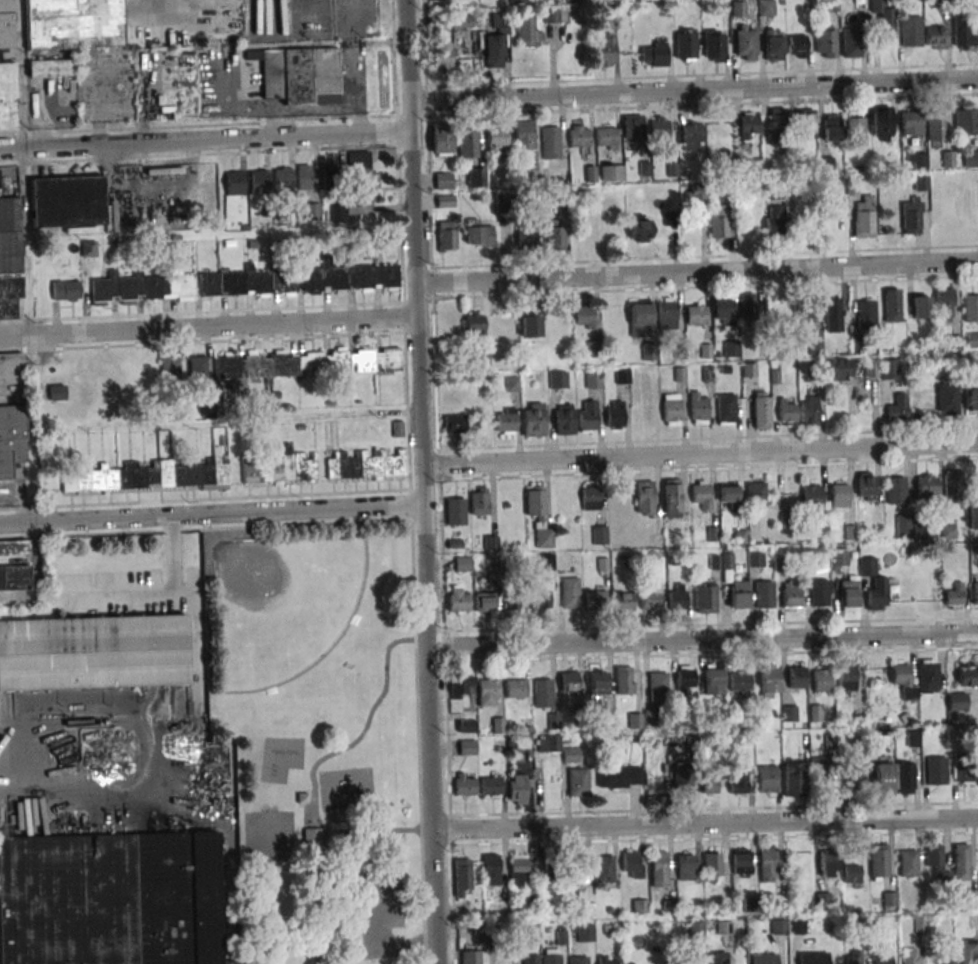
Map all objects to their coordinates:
building: (435, 0)
building: (574, 0)
building: (517, 1)
building: (830, 6)
building: (738, 8)
building: (765, 8)
building: (611, 13)
building: (554, 15)
building: (884, 17)
building: (438, 22)
building: (461, 22)
building: (72, 23)
building: (911, 31)
building: (963, 31)
building: (528, 32)
building: (935, 37)
building: (825, 41)
building: (495, 42)
building: (851, 43)
building: (714, 45)
building: (746, 46)
building: (773, 46)
building: (797, 46)
building: (685, 48)
building: (605, 51)
building: (654, 54)
building: (441, 55)
building: (51, 68)
building: (6, 69)
building: (298, 74)
road: (357, 89)
road: (694, 90)
building: (805, 122)
building: (966, 122)
building: (881, 123)
building: (911, 123)
building: (749, 125)
building: (832, 126)
building: (777, 127)
building: (935, 128)
building: (634, 130)
building: (660, 130)
building: (856, 131)
building: (580, 135)
building: (523, 136)
building: (693, 137)
building: (607, 138)
building: (441, 139)
road: (205, 140)
building: (494, 140)
building: (467, 142)
building: (550, 143)
building: (970, 158)
building: (916, 160)
road: (23, 167)
building: (612, 173)
building: (361, 174)
building: (305, 177)
building: (475, 177)
building: (282, 178)
building: (331, 178)
building: (443, 180)
building: (259, 181)
building: (234, 182)
building: (920, 182)
building: (696, 196)
building: (445, 201)
building: (65, 203)
building: (312, 211)
building: (337, 213)
building: (911, 215)
building: (864, 217)
building: (719, 221)
building: (774, 221)
building: (639, 228)
building: (478, 234)
building: (447, 236)
building: (88, 248)
building: (9, 260)
road: (697, 273)
building: (246, 282)
building: (65, 290)
building: (944, 303)
building: (891, 305)
building: (746, 307)
building: (919, 307)
building: (722, 308)
building: (805, 308)
building: (970, 309)
building: (696, 314)
building: (832, 314)
building: (667, 315)
building: (865, 315)
building: (584, 317)
building: (640, 319)
building: (474, 324)
road: (208, 326)
building: (529, 326)
building: (972, 339)
building: (816, 341)
building: (305, 363)
building: (870, 368)
building: (170, 369)
building: (840, 369)
building: (889, 369)
building: (197, 372)
building: (558, 380)
building: (594, 380)
building: (512, 384)
building: (56, 392)
building: (947, 400)
building: (971, 400)
building: (205, 405)
building: (726, 408)
building: (897, 408)
building: (698, 409)
building: (671, 410)
building: (760, 410)
building: (809, 410)
building: (787, 411)
building: (11, 413)
building: (614, 414)
building: (587, 416)
building: (532, 420)
building: (564, 420)
building: (506, 421)
building: (453, 424)
road: (701, 453)
building: (366, 464)
building: (278, 466)
building: (151, 474)
road: (424, 481)
building: (953, 485)
building: (866, 486)
building: (926, 486)
building: (896, 492)
building: (727, 493)
building: (700, 494)
building: (756, 495)
building: (839, 495)
building: (644, 497)
building: (590, 498)
building: (671, 498)
building: (815, 498)
building: (479, 501)
building: (455, 511)
road: (213, 514)
building: (538, 515)
building: (973, 515)
building: (599, 534)
building: (490, 542)
building: (13, 547)
building: (839, 556)
building: (756, 559)
building: (463, 564)
building: (867, 566)
building: (13, 577)
building: (790, 593)
building: (818, 593)
building: (848, 593)
building: (877, 593)
building: (975, 593)
building: (569, 594)
building: (763, 595)
building: (953, 596)
building: (652, 597)
building: (676, 597)
building: (738, 597)
building: (459, 599)
building: (528, 599)
building: (595, 600)
building: (707, 600)
building: (486, 601)
building: (623, 602)
road: (703, 640)
building: (93, 652)
building: (967, 675)
building: (927, 676)
building: (796, 677)
building: (846, 678)
building: (684, 679)
building: (624, 680)
building: (739, 680)
building: (822, 680)
building: (903, 680)
building: (569, 681)
building: (769, 681)
building: (713, 682)
building: (598, 683)
building: (461, 686)
building: (657, 687)
building: (515, 688)
building: (488, 691)
building: (542, 694)
building: (789, 713)
building: (816, 713)
building: (975, 714)
building: (635, 720)
building: (498, 725)
building: (466, 726)
park: (317, 742)
building: (548, 743)
building: (467, 747)
building: (570, 755)
building: (221, 768)
building: (963, 769)
building: (854, 771)
building: (936, 771)
building: (822, 775)
building: (619, 777)
building: (793, 777)
building: (883, 778)
building: (904, 778)
building: (767, 779)
building: (682, 781)
building: (709, 781)
building: (738, 781)
building: (578, 782)
building: (465, 784)
building: (491, 786)
building: (520, 786)
road: (704, 822)
building: (311, 838)
building: (768, 861)
building: (879, 861)
building: (741, 862)
building: (936, 862)
building: (961, 862)
building: (829, 863)
building: (632, 864)
building: (907, 864)
building: (712, 865)
building: (685, 866)
building: (552, 867)
building: (491, 869)
building: (578, 869)
building: (603, 869)
building: (659, 869)
building: (518, 872)
building: (462, 877)
building: (109, 899)
building: (822, 900)
building: (669, 906)
building: (640, 907)
building: (796, 926)
building: (779, 927)
building: (584, 933)
building: (966, 952)
building: (551, 956)
building: (884, 956)
building: (910, 956)
building: (469, 957)
building: (853, 957)
building: (690, 958)
building: (717, 958)
building: (813, 958)
building: (531, 959)
building: (763, 959)
building: (578, 960)
building: (607, 960)

